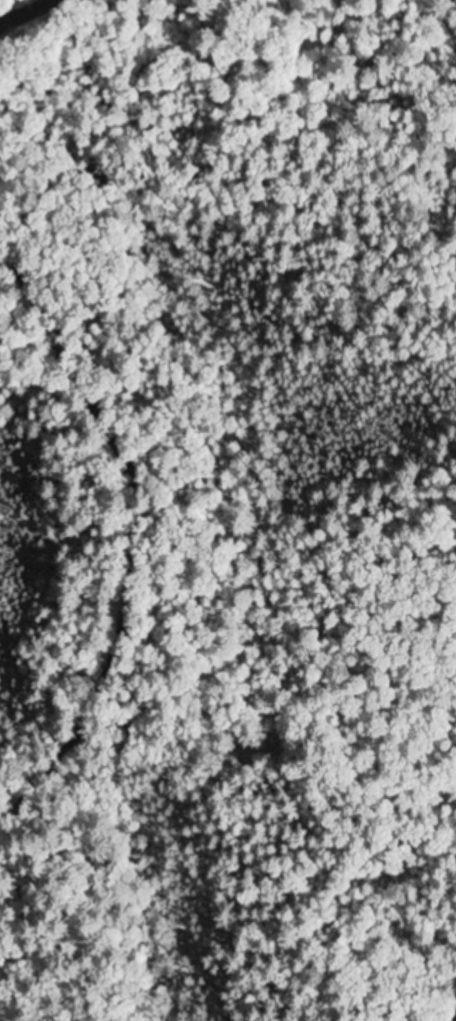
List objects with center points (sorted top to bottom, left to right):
road: (27, 12)
road: (128, 550)

